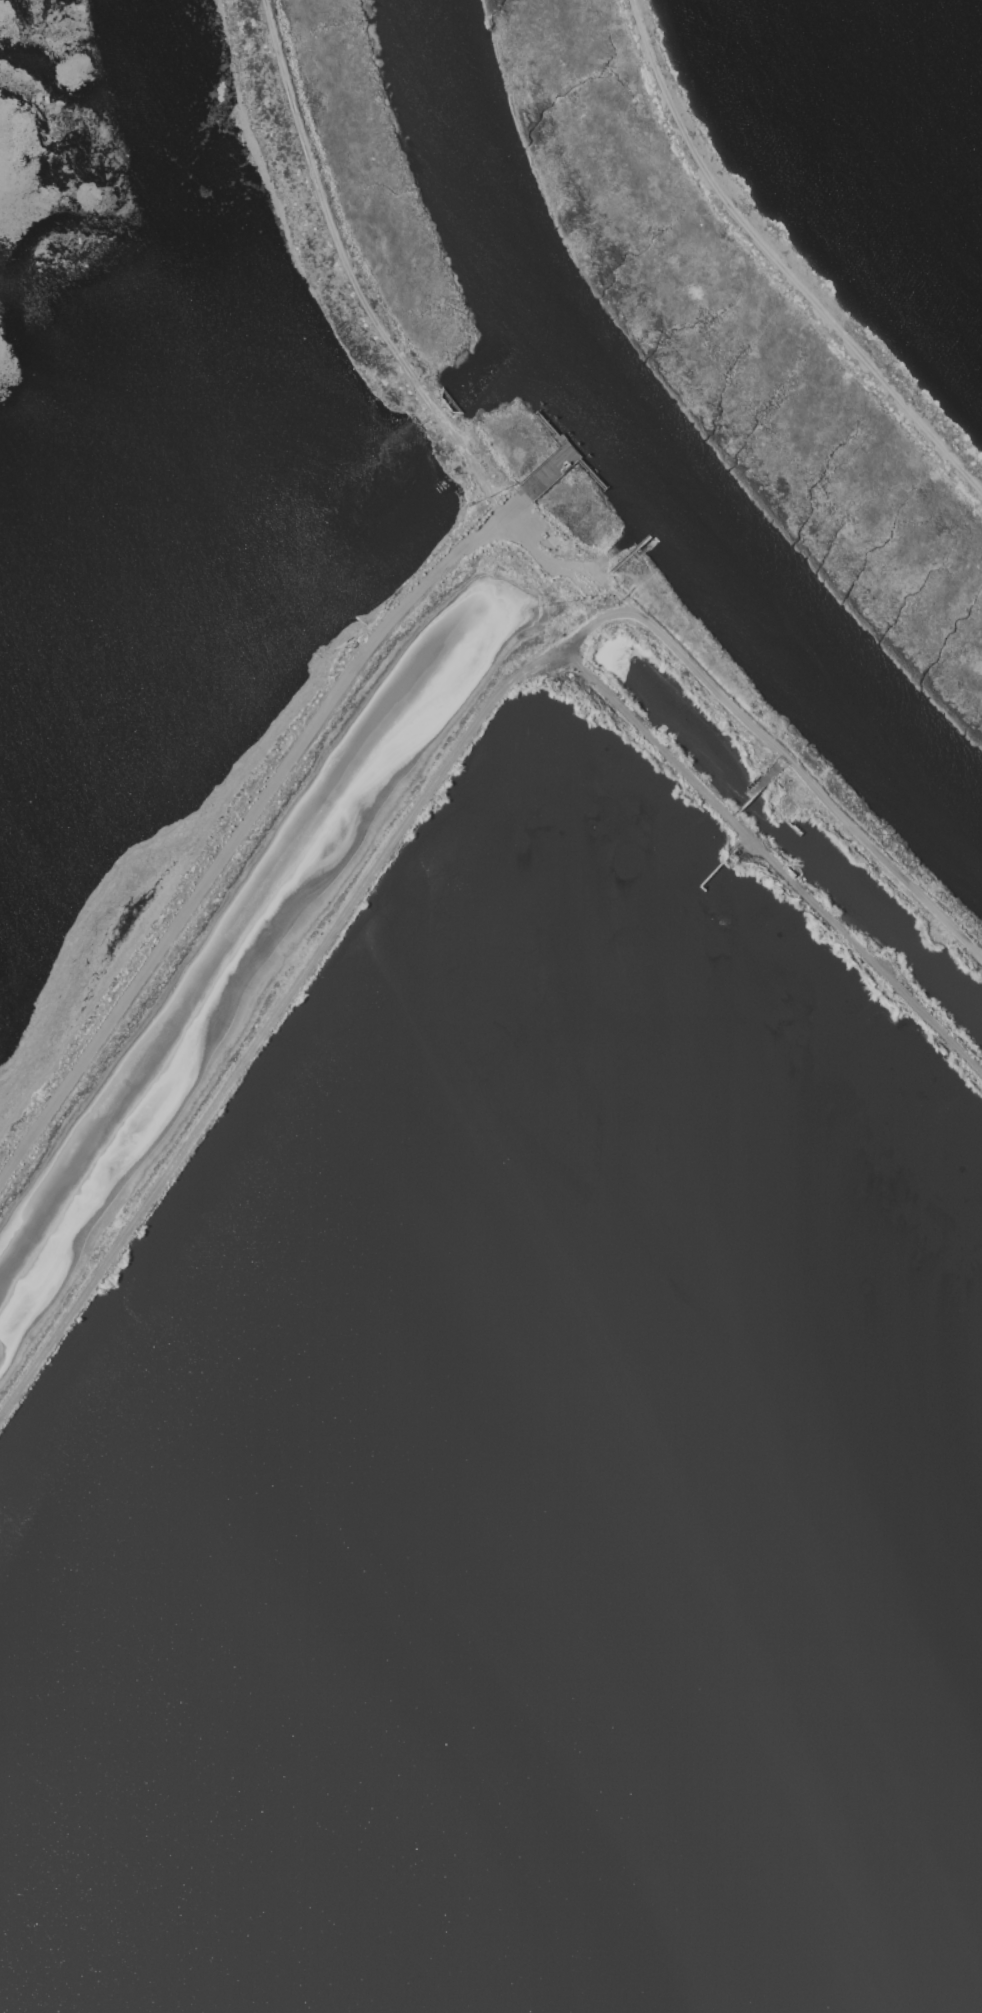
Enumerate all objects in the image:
building: (43, 101)
road: (778, 264)
river: (637, 457)
road: (549, 565)
road: (431, 791)
road: (237, 839)
road: (774, 866)

